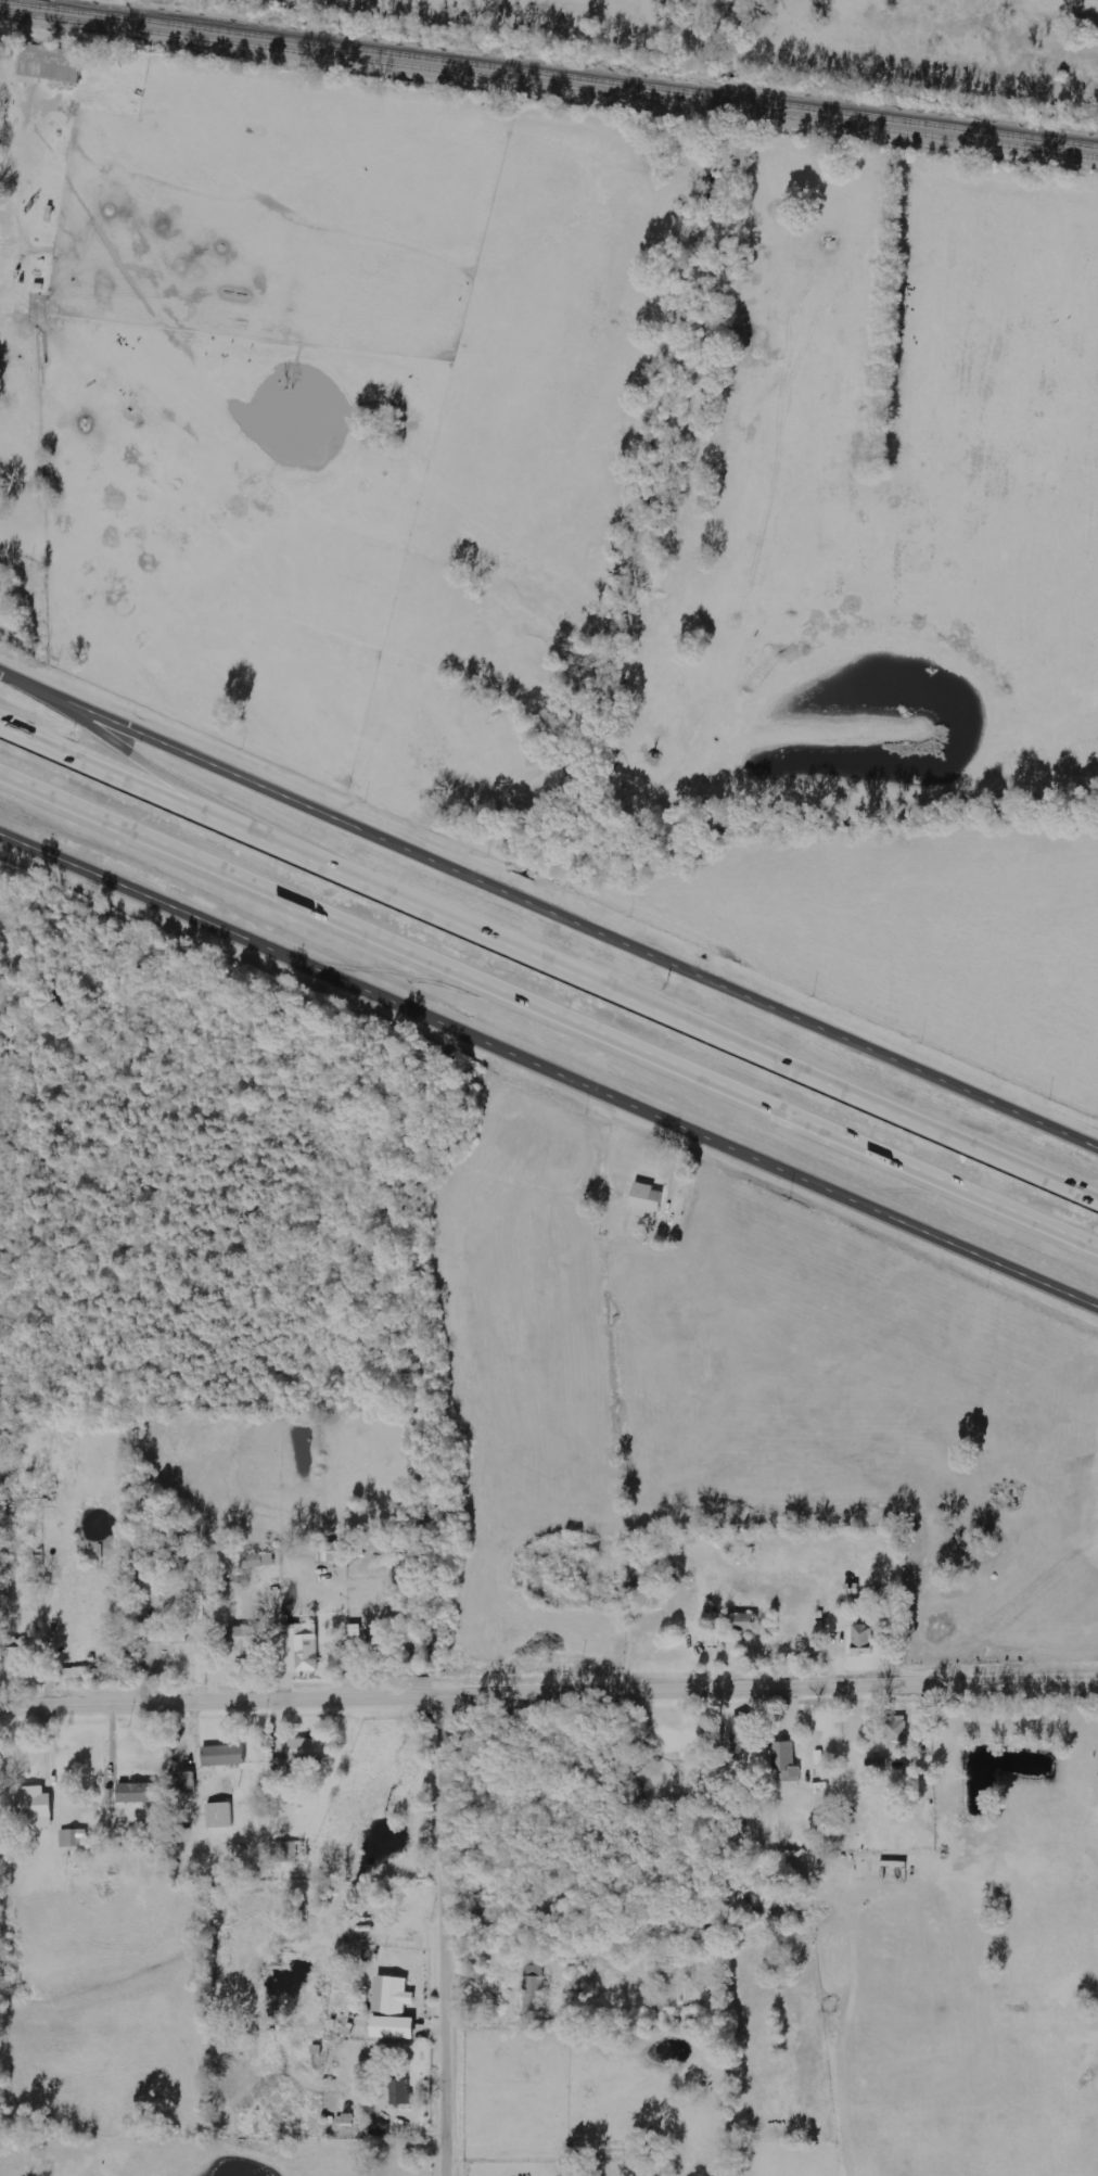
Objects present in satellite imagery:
building: (51, 65)
railway: (548, 77)
railway: (548, 88)
road: (3, 672)
road: (159, 774)
road: (552, 911)
road: (550, 950)
road: (549, 1002)
road: (549, 1069)
building: (649, 1201)
building: (336, 1553)
building: (270, 1561)
building: (255, 1562)
building: (745, 1620)
building: (168, 1637)
building: (246, 1638)
building: (713, 1640)
building: (865, 1640)
building: (301, 1652)
building: (21, 1653)
building: (76, 1676)
road: (548, 1696)
building: (896, 1729)
building: (746, 1732)
building: (715, 1733)
building: (310, 1751)
building: (226, 1756)
building: (789, 1764)
building: (139, 1793)
building: (37, 1806)
building: (221, 1816)
building: (75, 1838)
building: (285, 1853)
road: (451, 1936)
building: (535, 1988)
building: (395, 2010)
building: (401, 2092)

